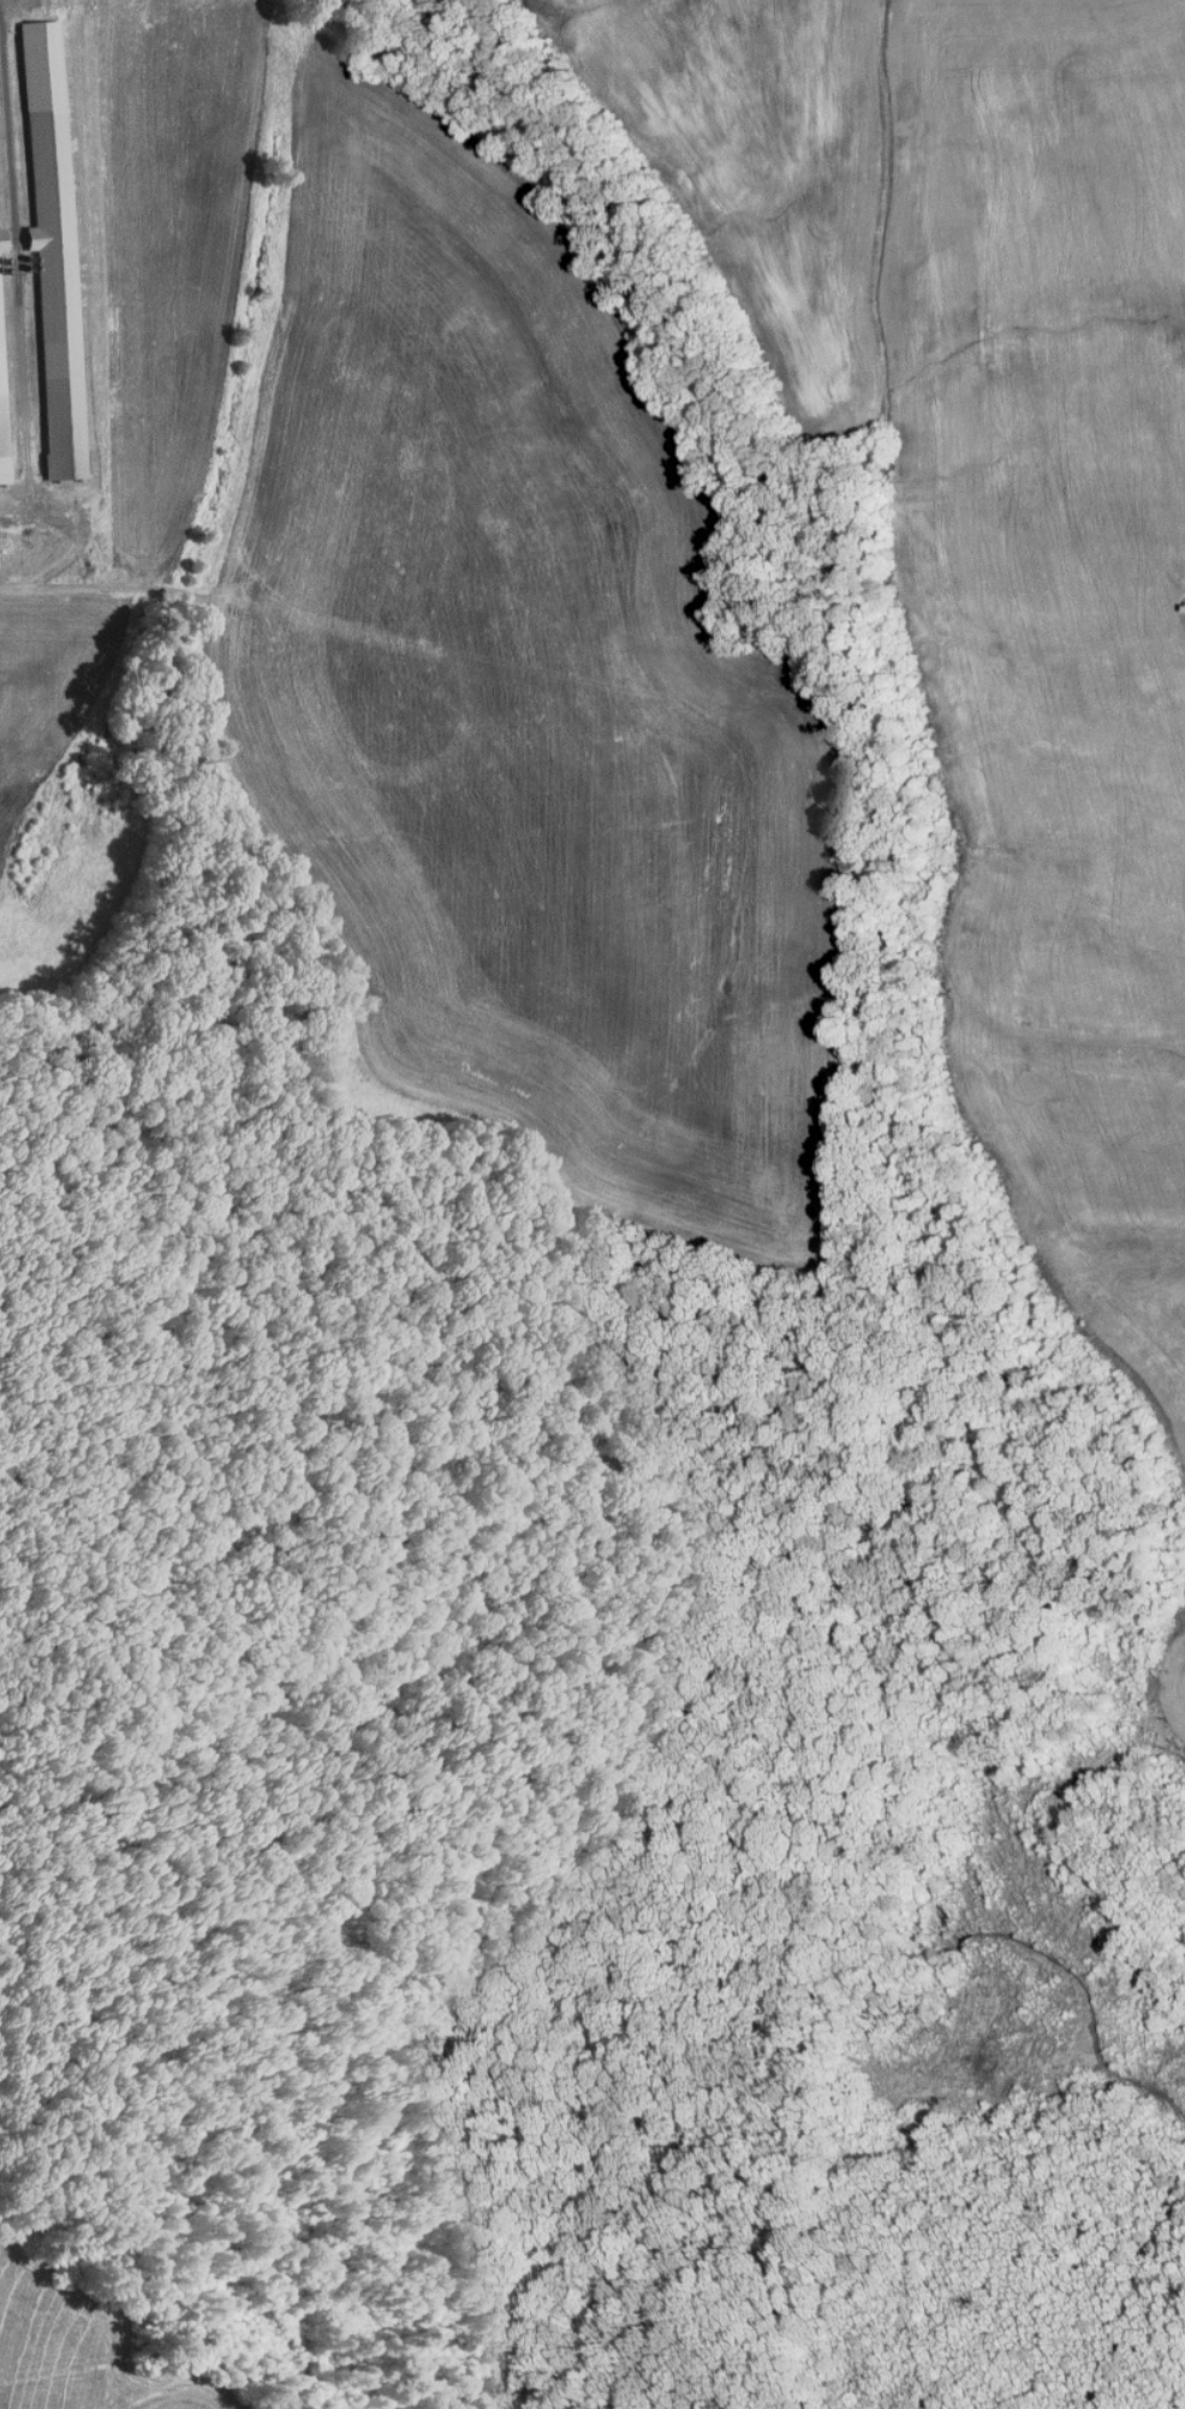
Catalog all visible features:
building: (41, 238)
building: (1, 453)

